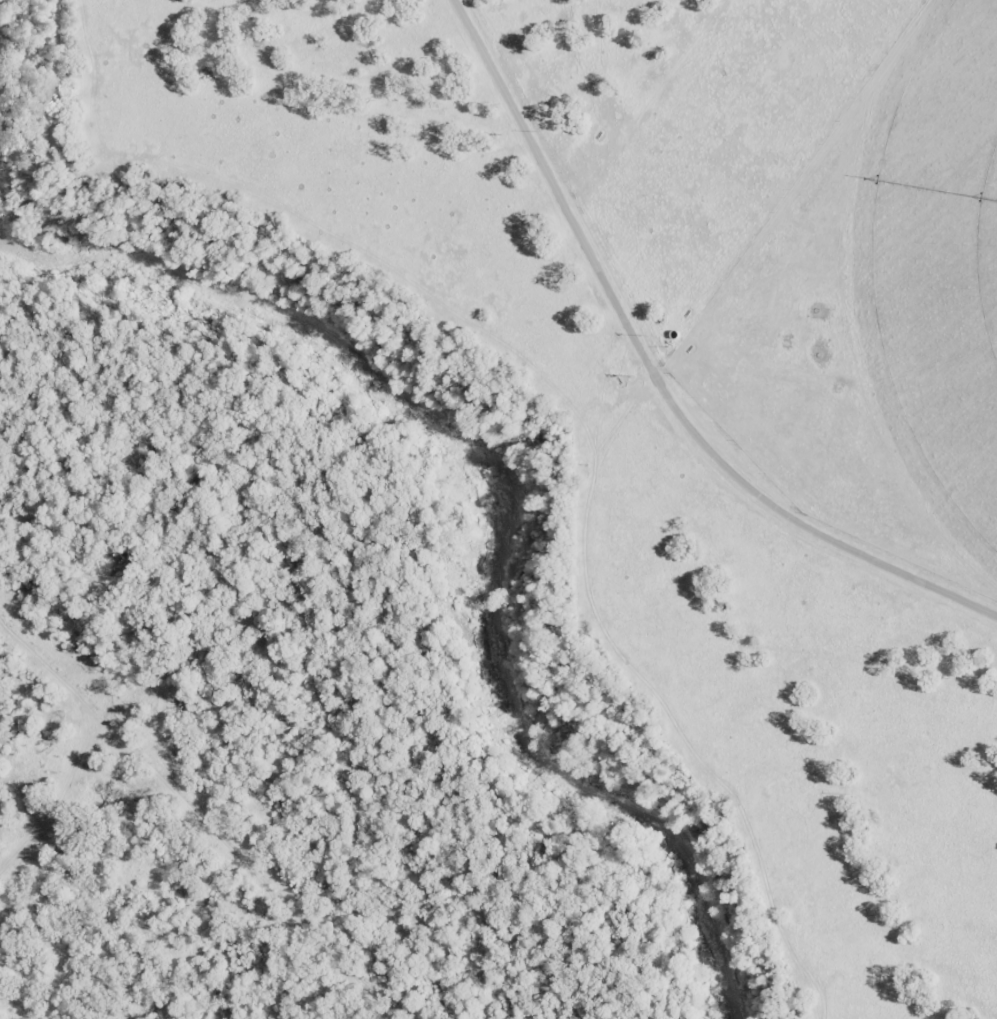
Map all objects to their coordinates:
road: (792, 186)
road: (665, 402)
river: (504, 497)

